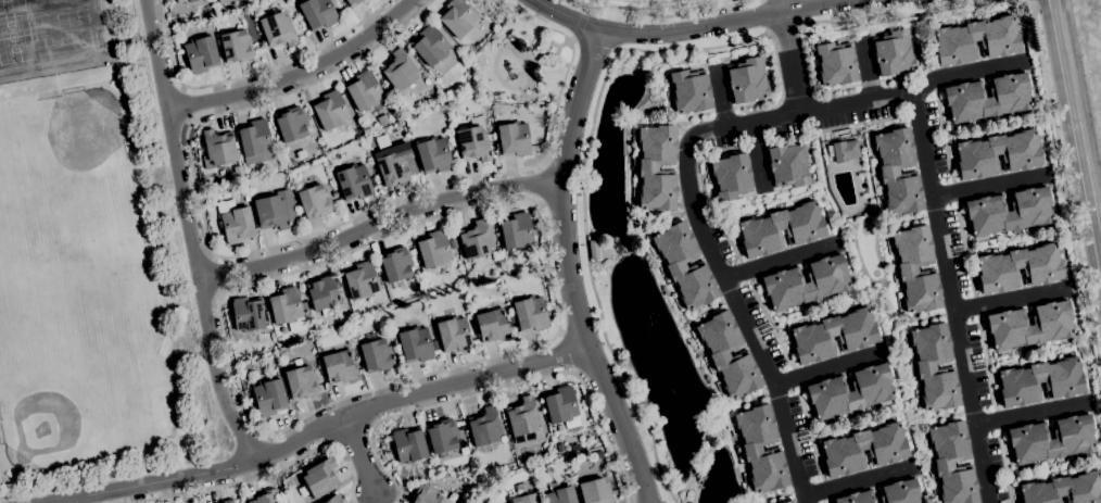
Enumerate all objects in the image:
building: (364, 0)
building: (186, 1)
building: (222, 1)
building: (353, 2)
building: (318, 13)
road: (898, 13)
road: (659, 14)
building: (457, 17)
road: (580, 23)
road: (688, 27)
road: (788, 28)
building: (278, 29)
building: (976, 40)
road: (597, 43)
building: (430, 45)
building: (236, 47)
building: (893, 52)
building: (201, 53)
road: (788, 56)
building: (835, 64)
road: (866, 67)
building: (400, 70)
road: (965, 73)
road: (249, 75)
road: (300, 75)
building: (747, 80)
building: (364, 90)
building: (689, 91)
road: (720, 97)
building: (987, 98)
building: (452, 102)
road: (187, 104)
building: (331, 110)
road: (814, 111)
building: (458, 115)
building: (382, 120)
building: (292, 124)
building: (535, 127)
building: (359, 131)
building: (254, 138)
park: (74, 139)
building: (514, 139)
building: (473, 140)
road: (1074, 141)
building: (218, 148)
building: (844, 151)
building: (998, 154)
building: (433, 155)
building: (788, 165)
building: (393, 168)
building: (647, 168)
building: (898, 172)
building: (731, 176)
building: (353, 183)
road: (1066, 183)
road: (541, 184)
road: (987, 186)
building: (315, 201)
road: (584, 205)
building: (1009, 212)
building: (271, 213)
building: (235, 222)
road: (378, 225)
building: (781, 229)
building: (516, 231)
road: (189, 232)
building: (474, 239)
road: (286, 242)
building: (434, 249)
building: (593, 250)
road: (777, 261)
building: (396, 266)
building: (684, 266)
building: (1018, 268)
road: (569, 269)
building: (916, 269)
road: (218, 273)
park: (72, 277)
building: (362, 280)
building: (806, 282)
building: (324, 294)
road: (1010, 301)
building: (288, 309)
building: (248, 314)
building: (267, 314)
building: (531, 314)
building: (492, 325)
building: (1029, 325)
building: (355, 328)
building: (454, 335)
building: (834, 336)
building: (250, 339)
building: (416, 344)
building: (278, 351)
road: (567, 352)
building: (718, 354)
building: (376, 355)
building: (339, 366)
building: (935, 367)
road: (826, 369)
building: (261, 376)
building: (1040, 381)
building: (301, 382)
road: (499, 388)
building: (850, 391)
park: (42, 397)
building: (252, 397)
building: (269, 397)
building: (251, 406)
building: (562, 406)
road: (1032, 414)
building: (522, 417)
road: (249, 419)
building: (484, 426)
road: (327, 427)
building: (558, 428)
building: (443, 437)
building: (1051, 439)
building: (408, 445)
building: (560, 447)
building: (574, 448)
building: (761, 449)
building: (864, 450)
road: (363, 454)
building: (952, 463)
building: (548, 468)
road: (267, 471)
building: (319, 478)
road: (857, 481)
building: (1064, 489)
building: (595, 491)
building: (900, 492)
building: (427, 494)
building: (559, 494)
building: (264, 498)
building: (857, 498)
building: (333, 499)
building: (526, 499)
building: (228, 501)
building: (319, 502)
building: (543, 502)
building: (788, 502)

